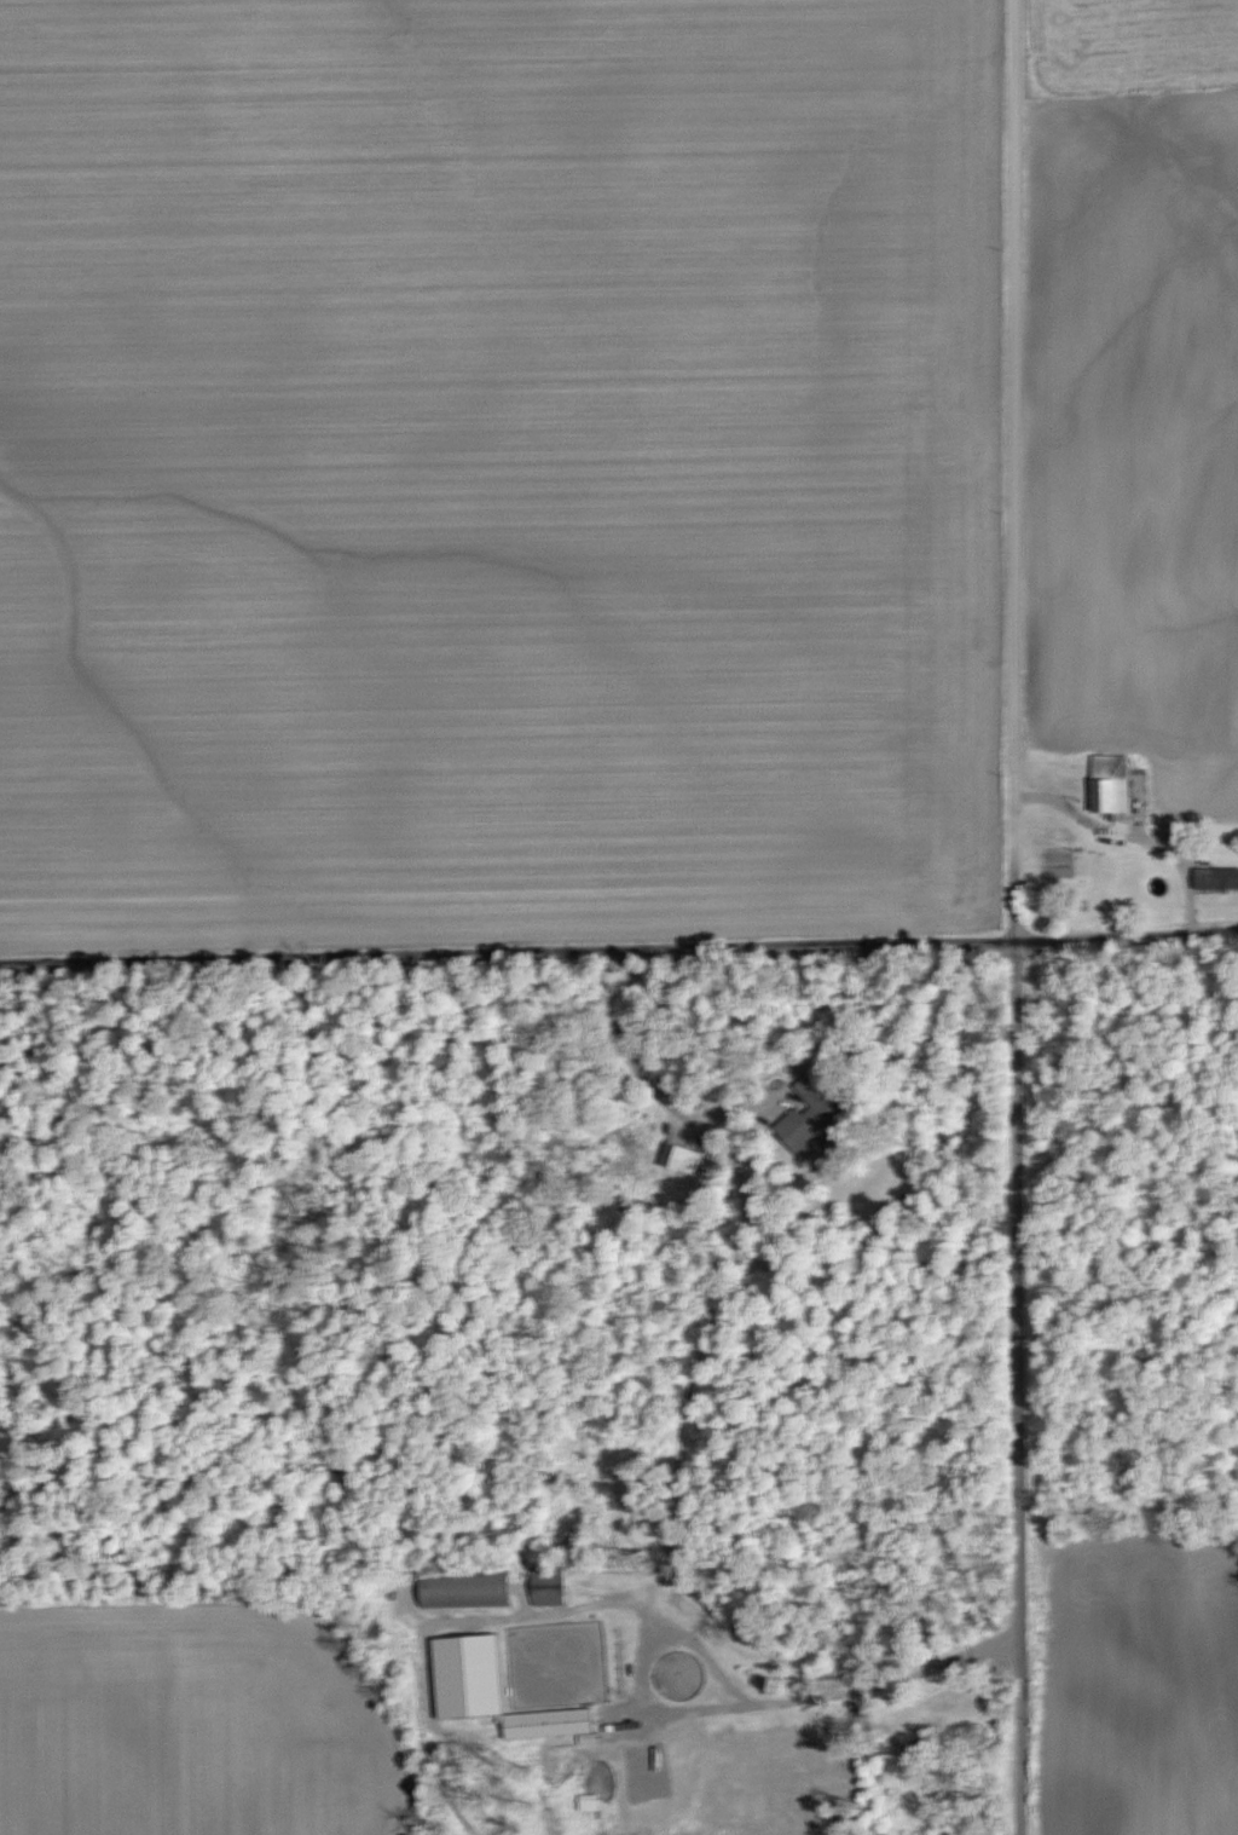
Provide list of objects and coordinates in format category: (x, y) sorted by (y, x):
road: (1002, 469)
building: (1109, 786)
building: (1214, 879)
road: (619, 946)
road: (821, 1019)
building: (811, 1106)
building: (798, 1132)
building: (681, 1158)
road: (1006, 1386)
building: (539, 1583)
building: (463, 1587)
road: (603, 1599)
road: (515, 1600)
road: (636, 1660)
building: (463, 1674)
road: (803, 1695)
road: (421, 1709)
building: (544, 1721)

